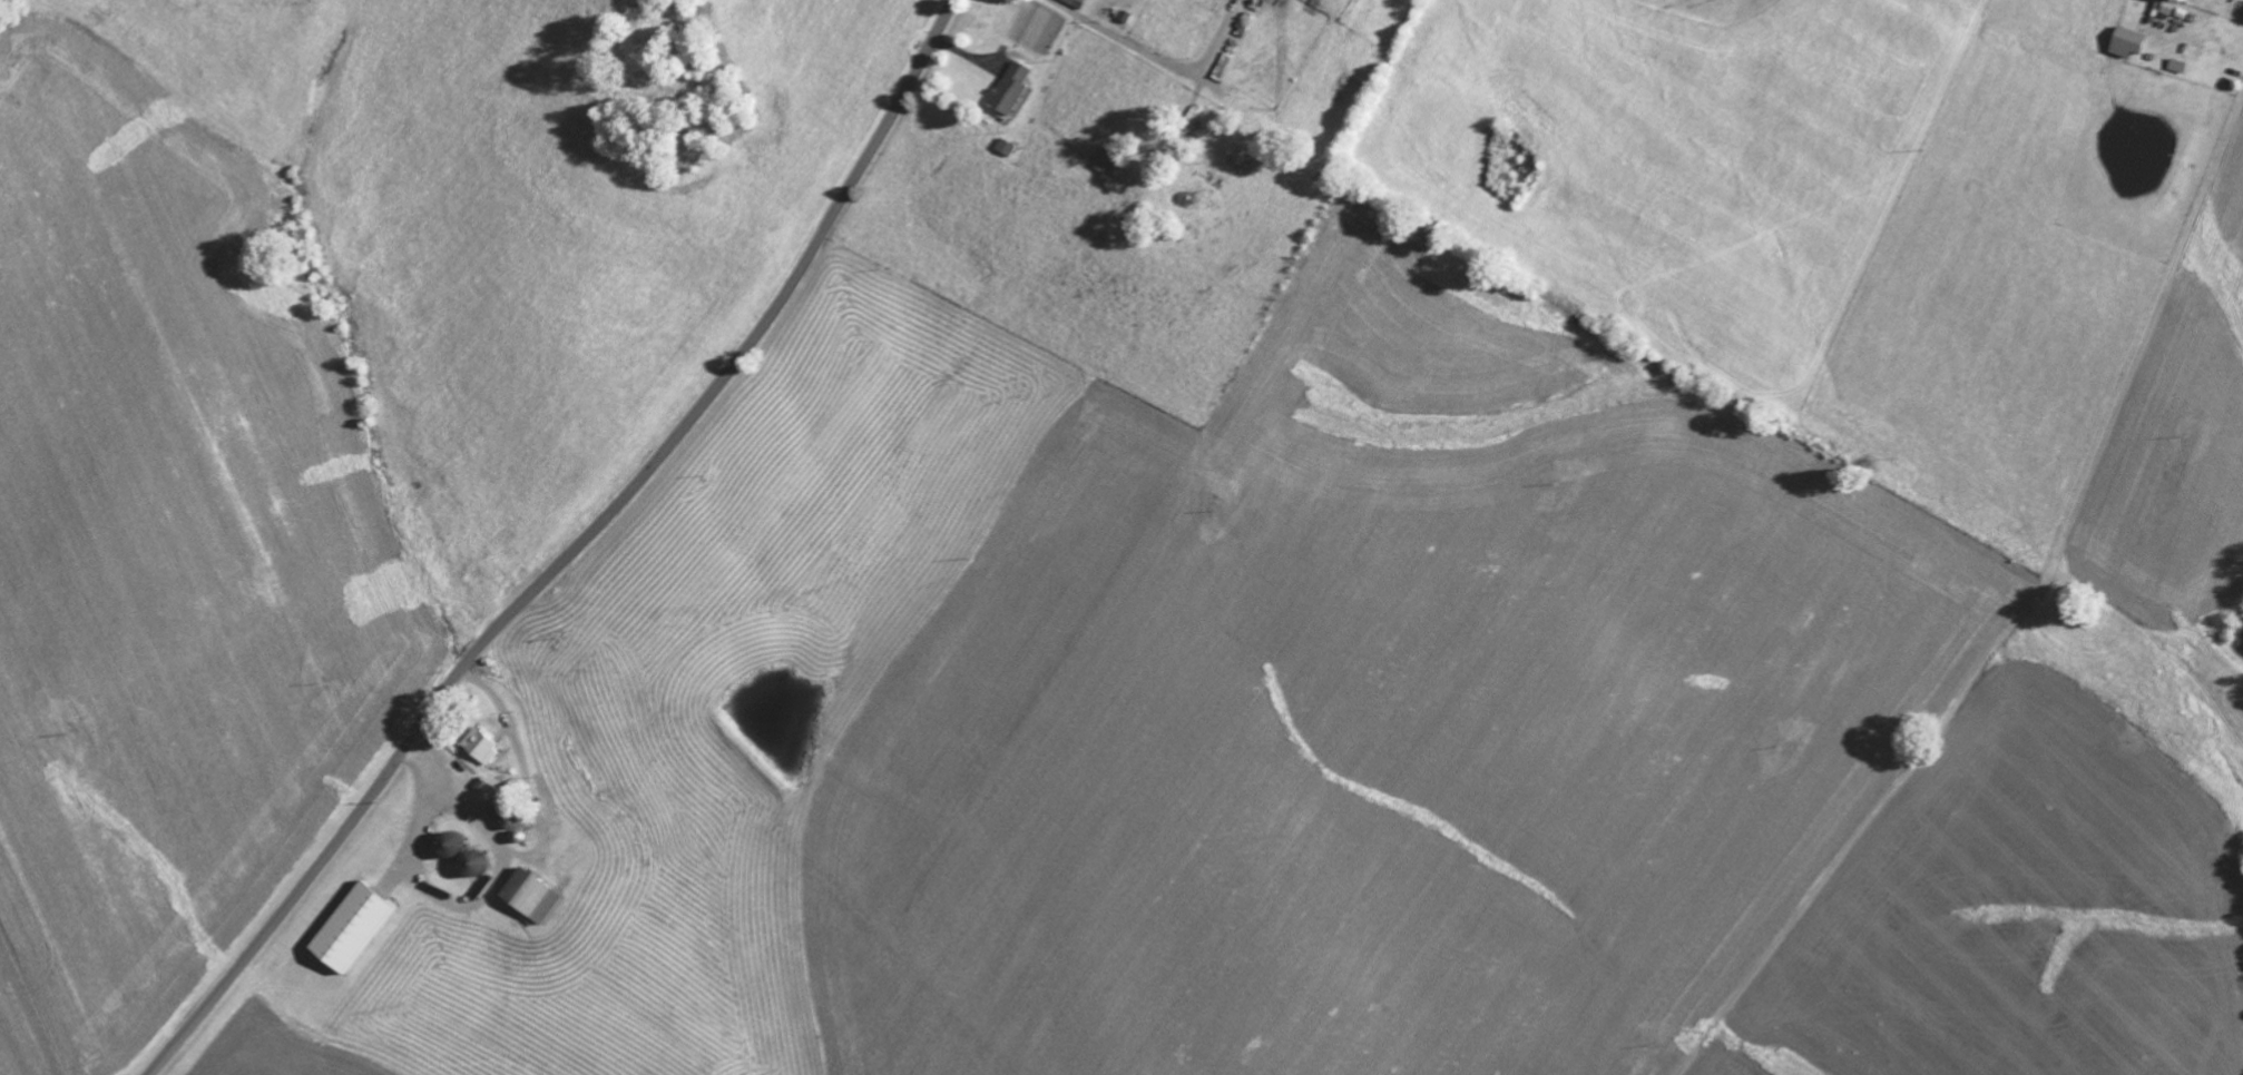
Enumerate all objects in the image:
building: (1072, 4)
building: (2162, 12)
building: (2122, 46)
building: (1010, 93)
building: (1003, 151)
building: (1104, 165)
road: (572, 552)
building: (484, 750)
building: (535, 898)
building: (355, 930)

